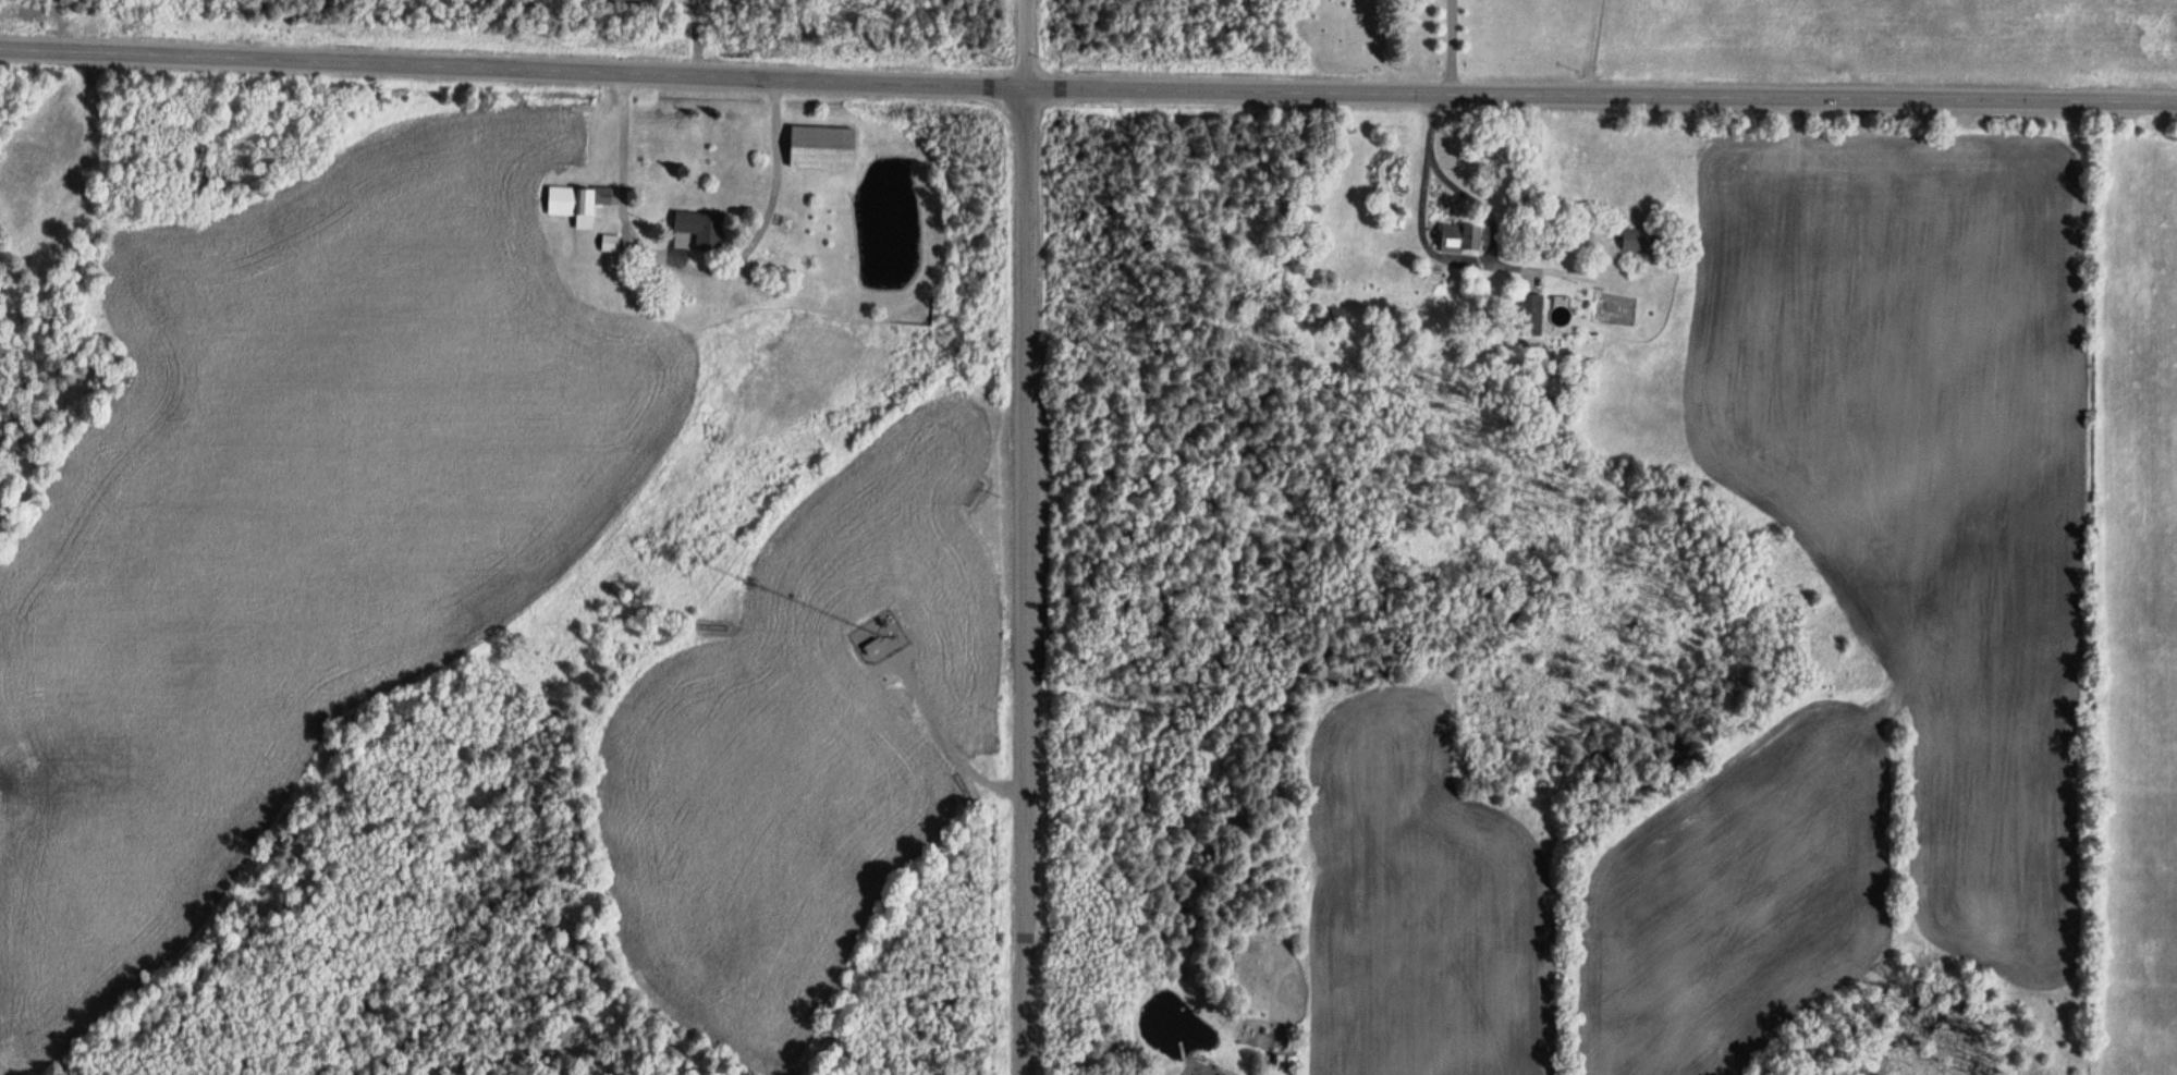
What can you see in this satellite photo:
road: (1088, 88)
building: (818, 143)
building: (576, 204)
building: (699, 231)
building: (1459, 237)
building: (1636, 243)
road: (689, 271)
building: (1528, 314)
building: (1337, 317)
road: (1026, 537)
building: (868, 642)
road: (943, 743)

